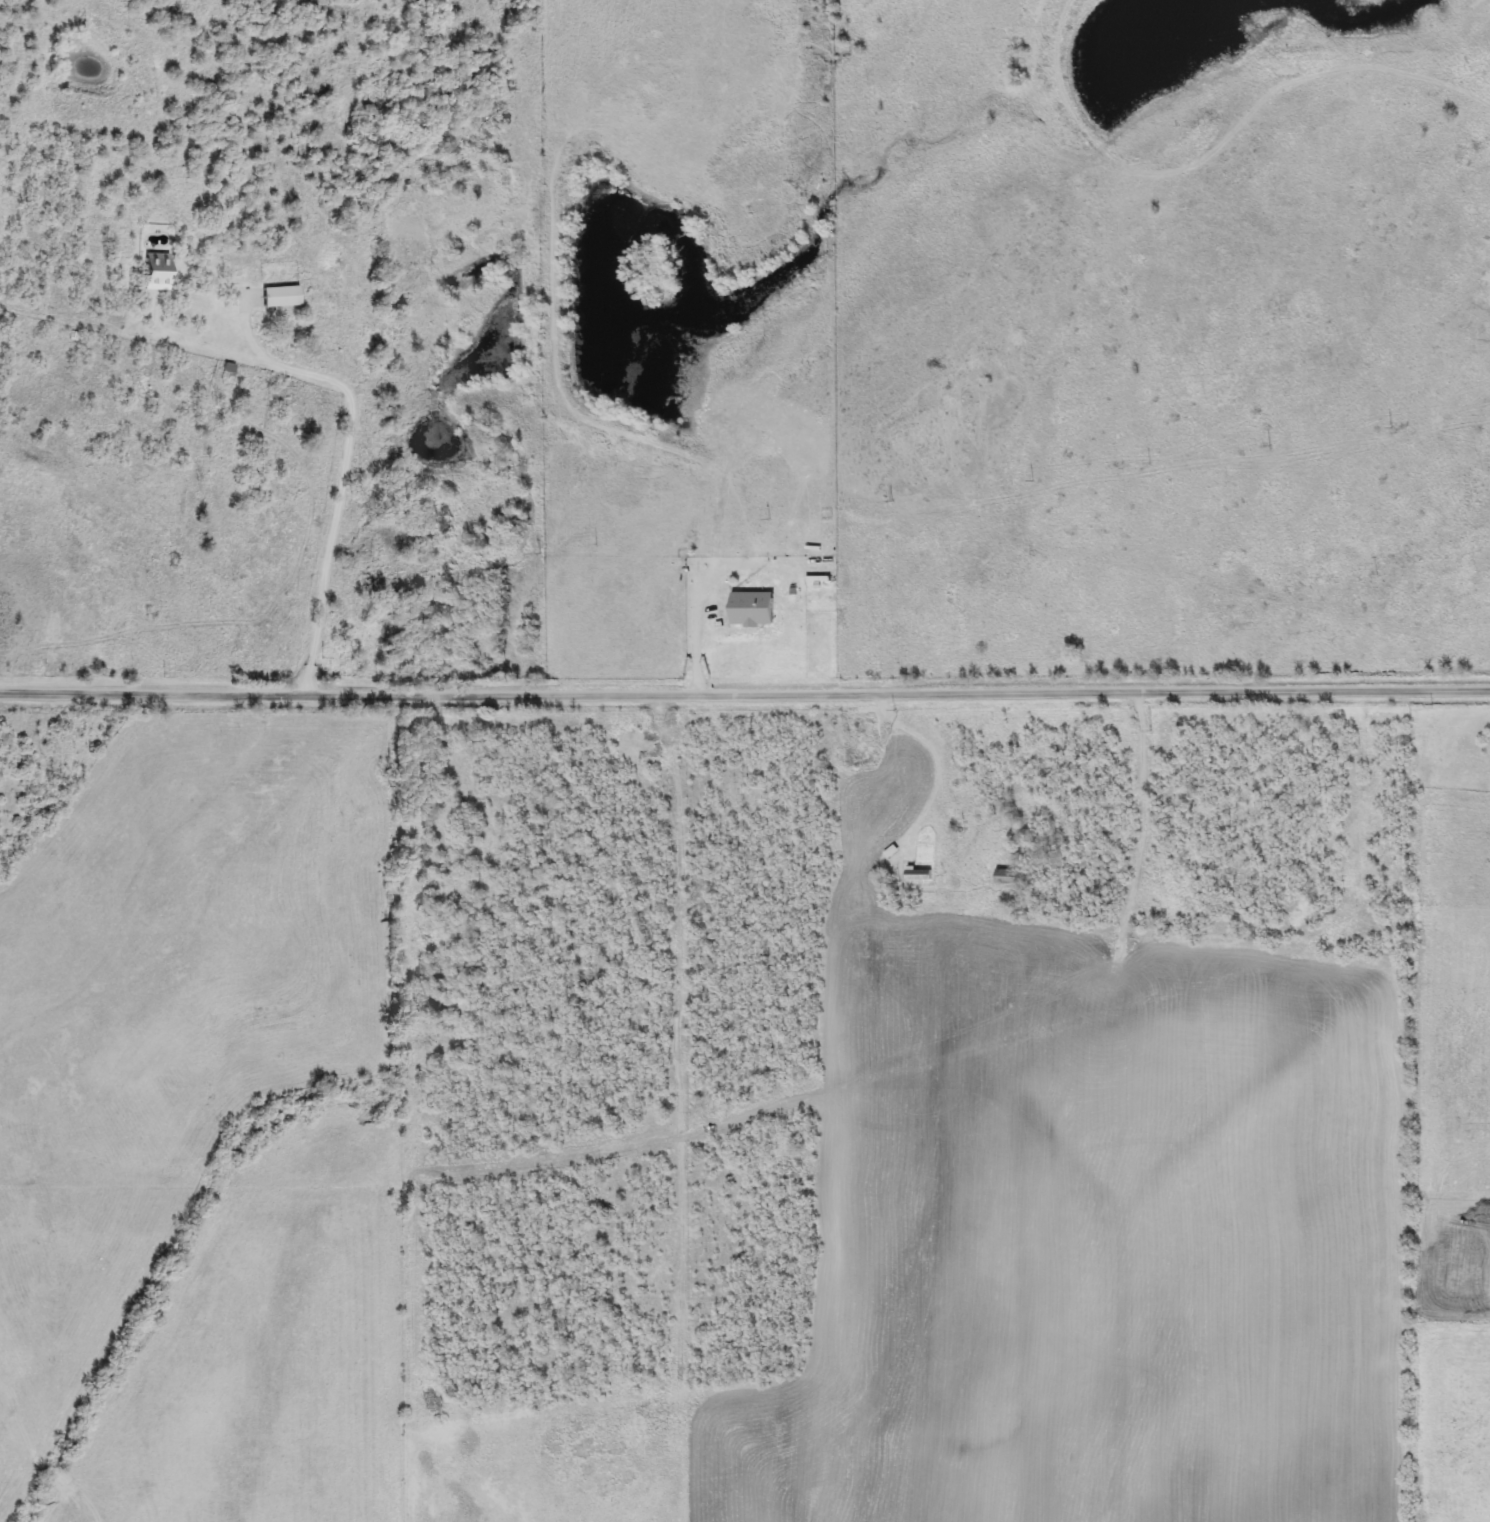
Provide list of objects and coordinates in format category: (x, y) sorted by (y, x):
building: (160, 273)
building: (281, 297)
road: (745, 692)
building: (1007, 878)

